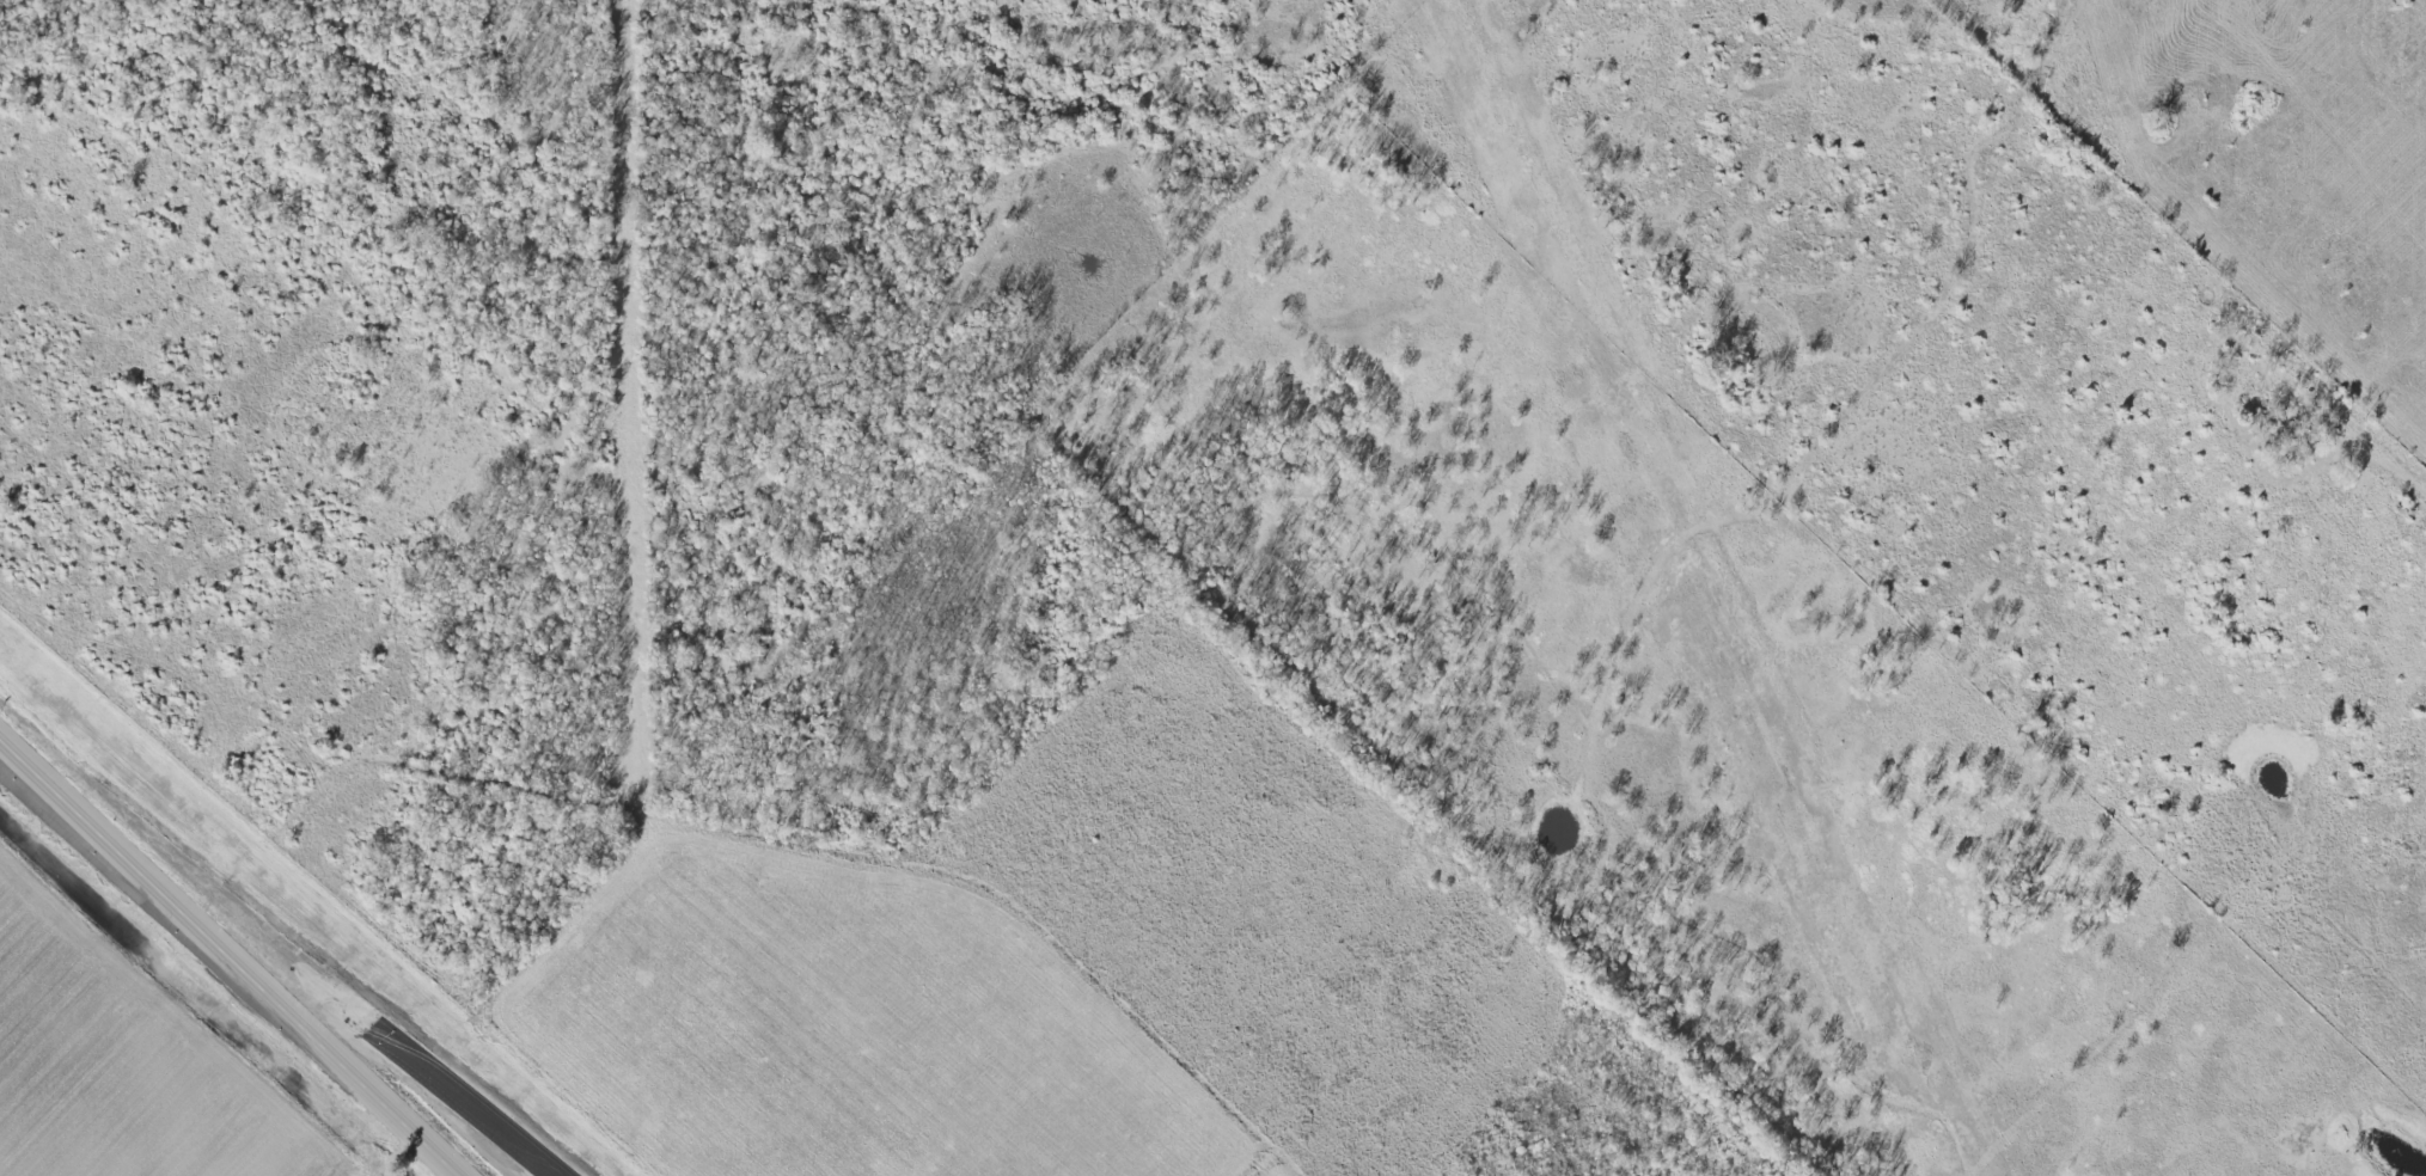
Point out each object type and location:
road: (230, 958)

